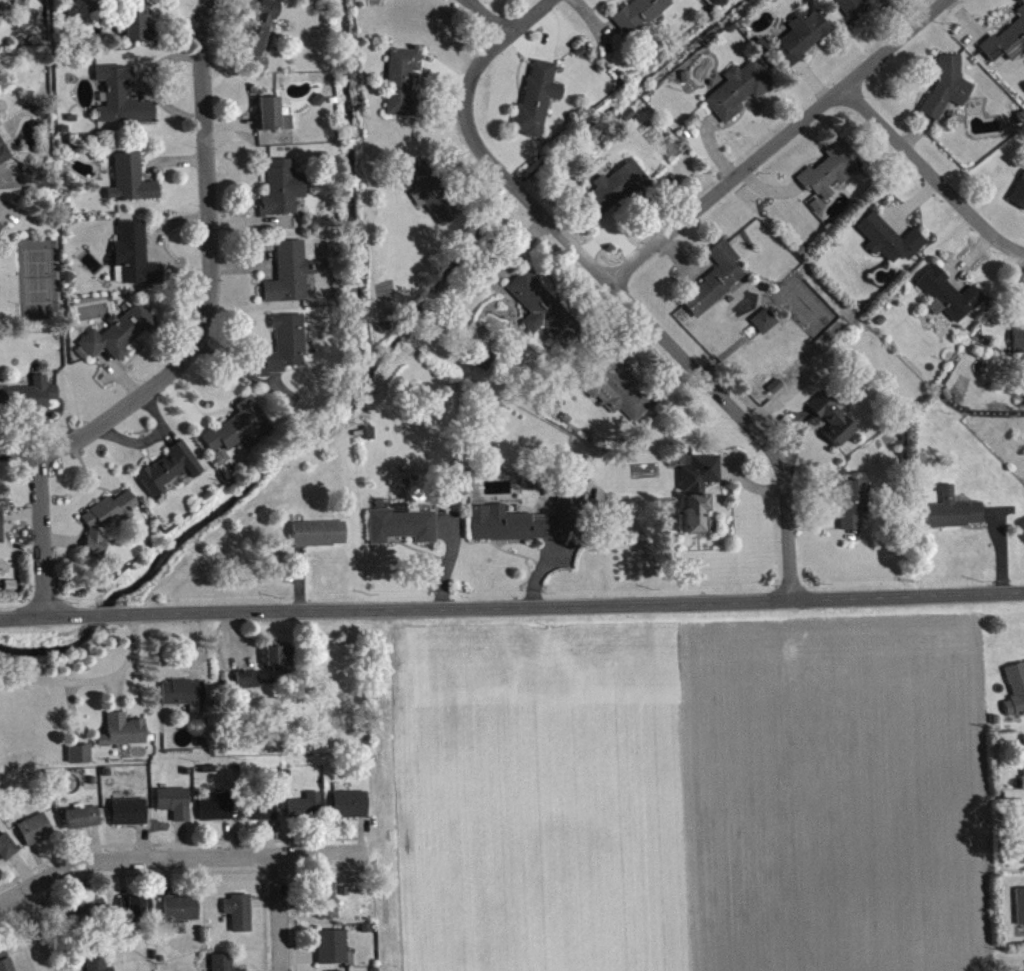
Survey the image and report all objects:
building: (850, 8)
building: (642, 15)
road: (485, 16)
building: (138, 26)
building: (261, 33)
building: (804, 40)
building: (1008, 45)
building: (404, 86)
building: (949, 91)
building: (740, 94)
building: (123, 102)
building: (538, 103)
building: (273, 120)
road: (776, 139)
building: (4, 151)
road: (930, 173)
building: (830, 175)
building: (131, 184)
building: (283, 192)
building: (618, 192)
building: (434, 197)
building: (1019, 199)
building: (819, 210)
building: (1, 231)
building: (891, 243)
building: (134, 261)
building: (290, 278)
building: (717, 284)
road: (616, 286)
building: (950, 300)
building: (545, 313)
building: (767, 325)
building: (119, 338)
building: (1019, 344)
road: (190, 348)
building: (286, 349)
building: (622, 396)
building: (29, 399)
building: (835, 425)
building: (240, 432)
road: (17, 451)
building: (170, 473)
building: (699, 495)
building: (853, 508)
building: (955, 515)
building: (107, 525)
building: (529, 525)
building: (1, 530)
building: (403, 530)
building: (320, 538)
road: (572, 602)
road: (107, 613)
road: (46, 614)
building: (280, 664)
road: (89, 679)
building: (248, 683)
building: (1016, 694)
building: (184, 697)
building: (124, 735)
building: (81, 758)
building: (176, 807)
building: (351, 809)
building: (307, 810)
building: (218, 813)
building: (263, 815)
building: (130, 816)
building: (84, 822)
building: (37, 834)
building: (8, 851)
road: (176, 855)
building: (328, 906)
building: (1021, 910)
road: (277, 912)
building: (89, 914)
building: (137, 914)
building: (181, 915)
building: (240, 917)
road: (32, 932)
building: (334, 951)
building: (5, 962)
building: (97, 964)
building: (223, 964)

